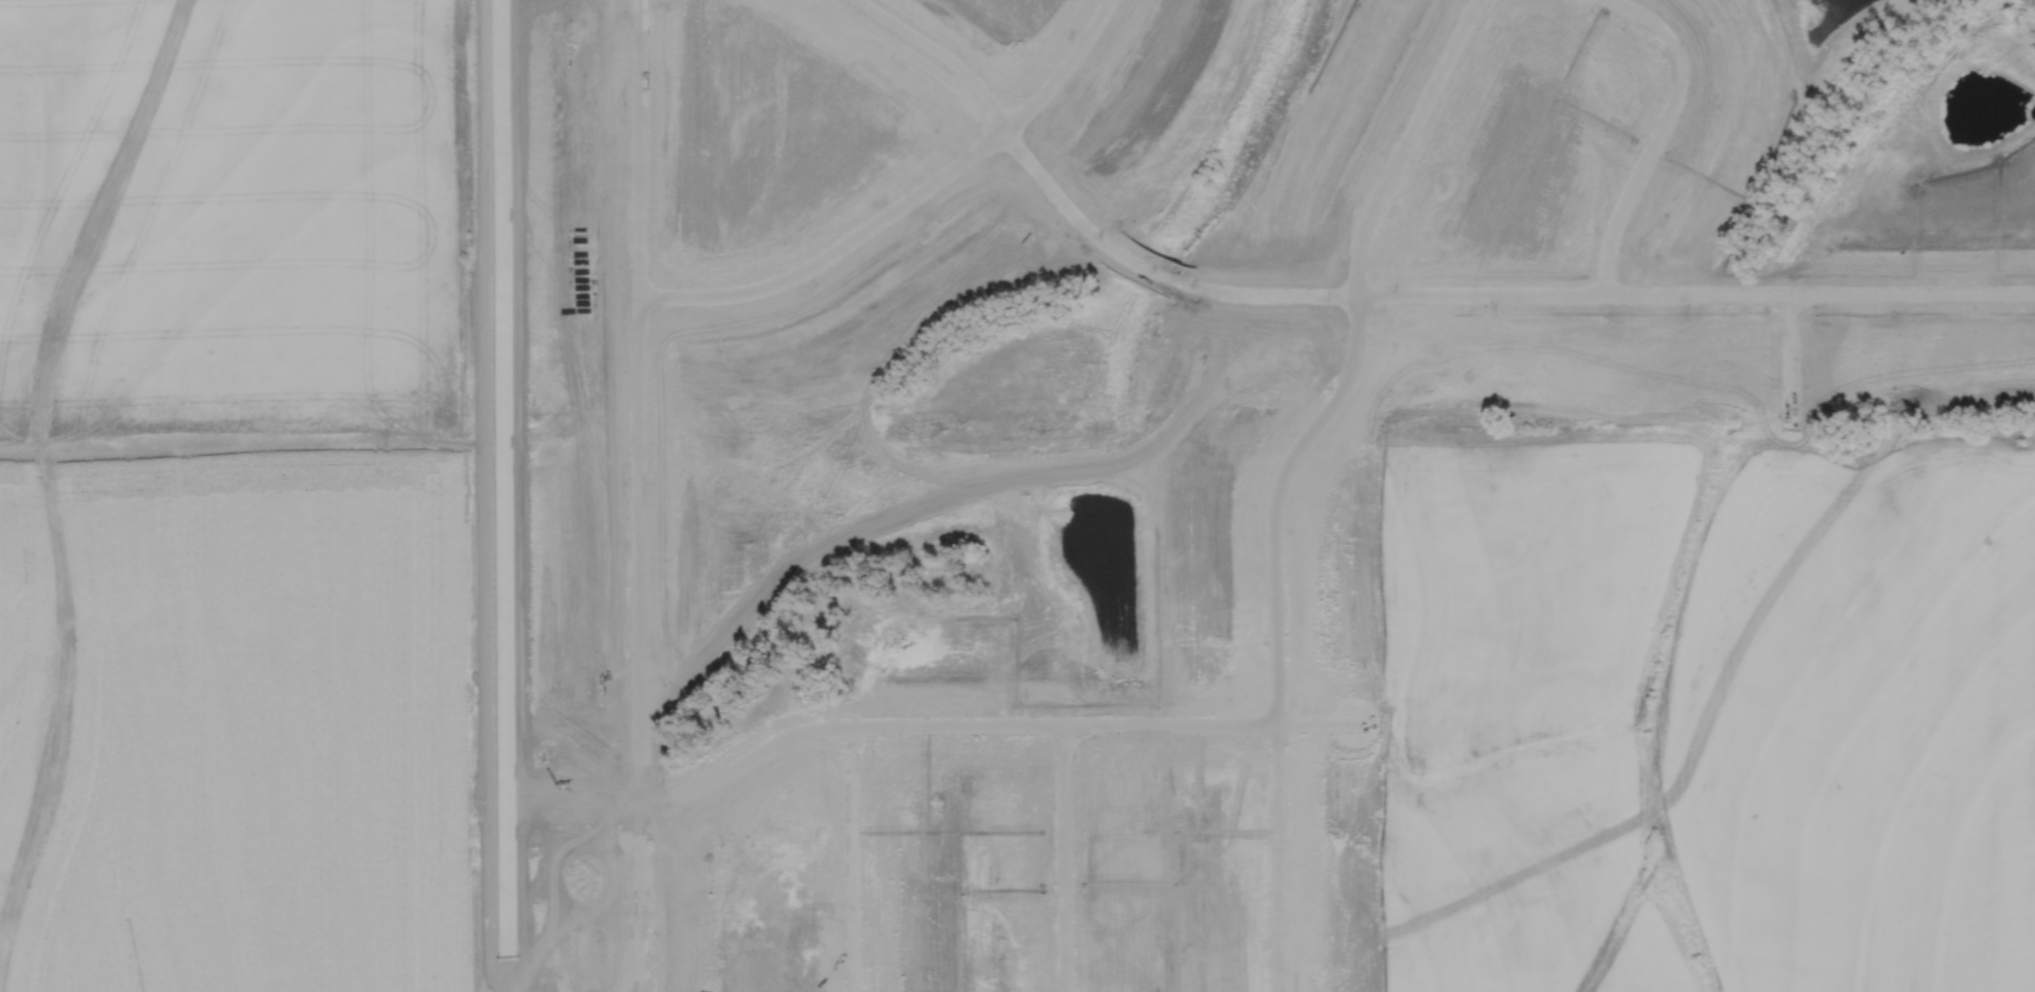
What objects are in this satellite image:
road: (939, 53)
road: (916, 58)
road: (1061, 70)
road: (1658, 133)
crop: (236, 222)
road: (832, 245)
road: (1488, 293)
road: (1791, 360)
road: (638, 396)
road: (1283, 472)
road: (502, 496)
crop: (1709, 707)
crop: (242, 717)
road: (986, 723)
building: (752, 736)
building: (850, 749)
building: (811, 757)
building: (739, 766)
road: (574, 781)
road: (573, 802)
road: (1063, 857)
road: (850, 858)
road: (642, 892)
building: (783, 892)

